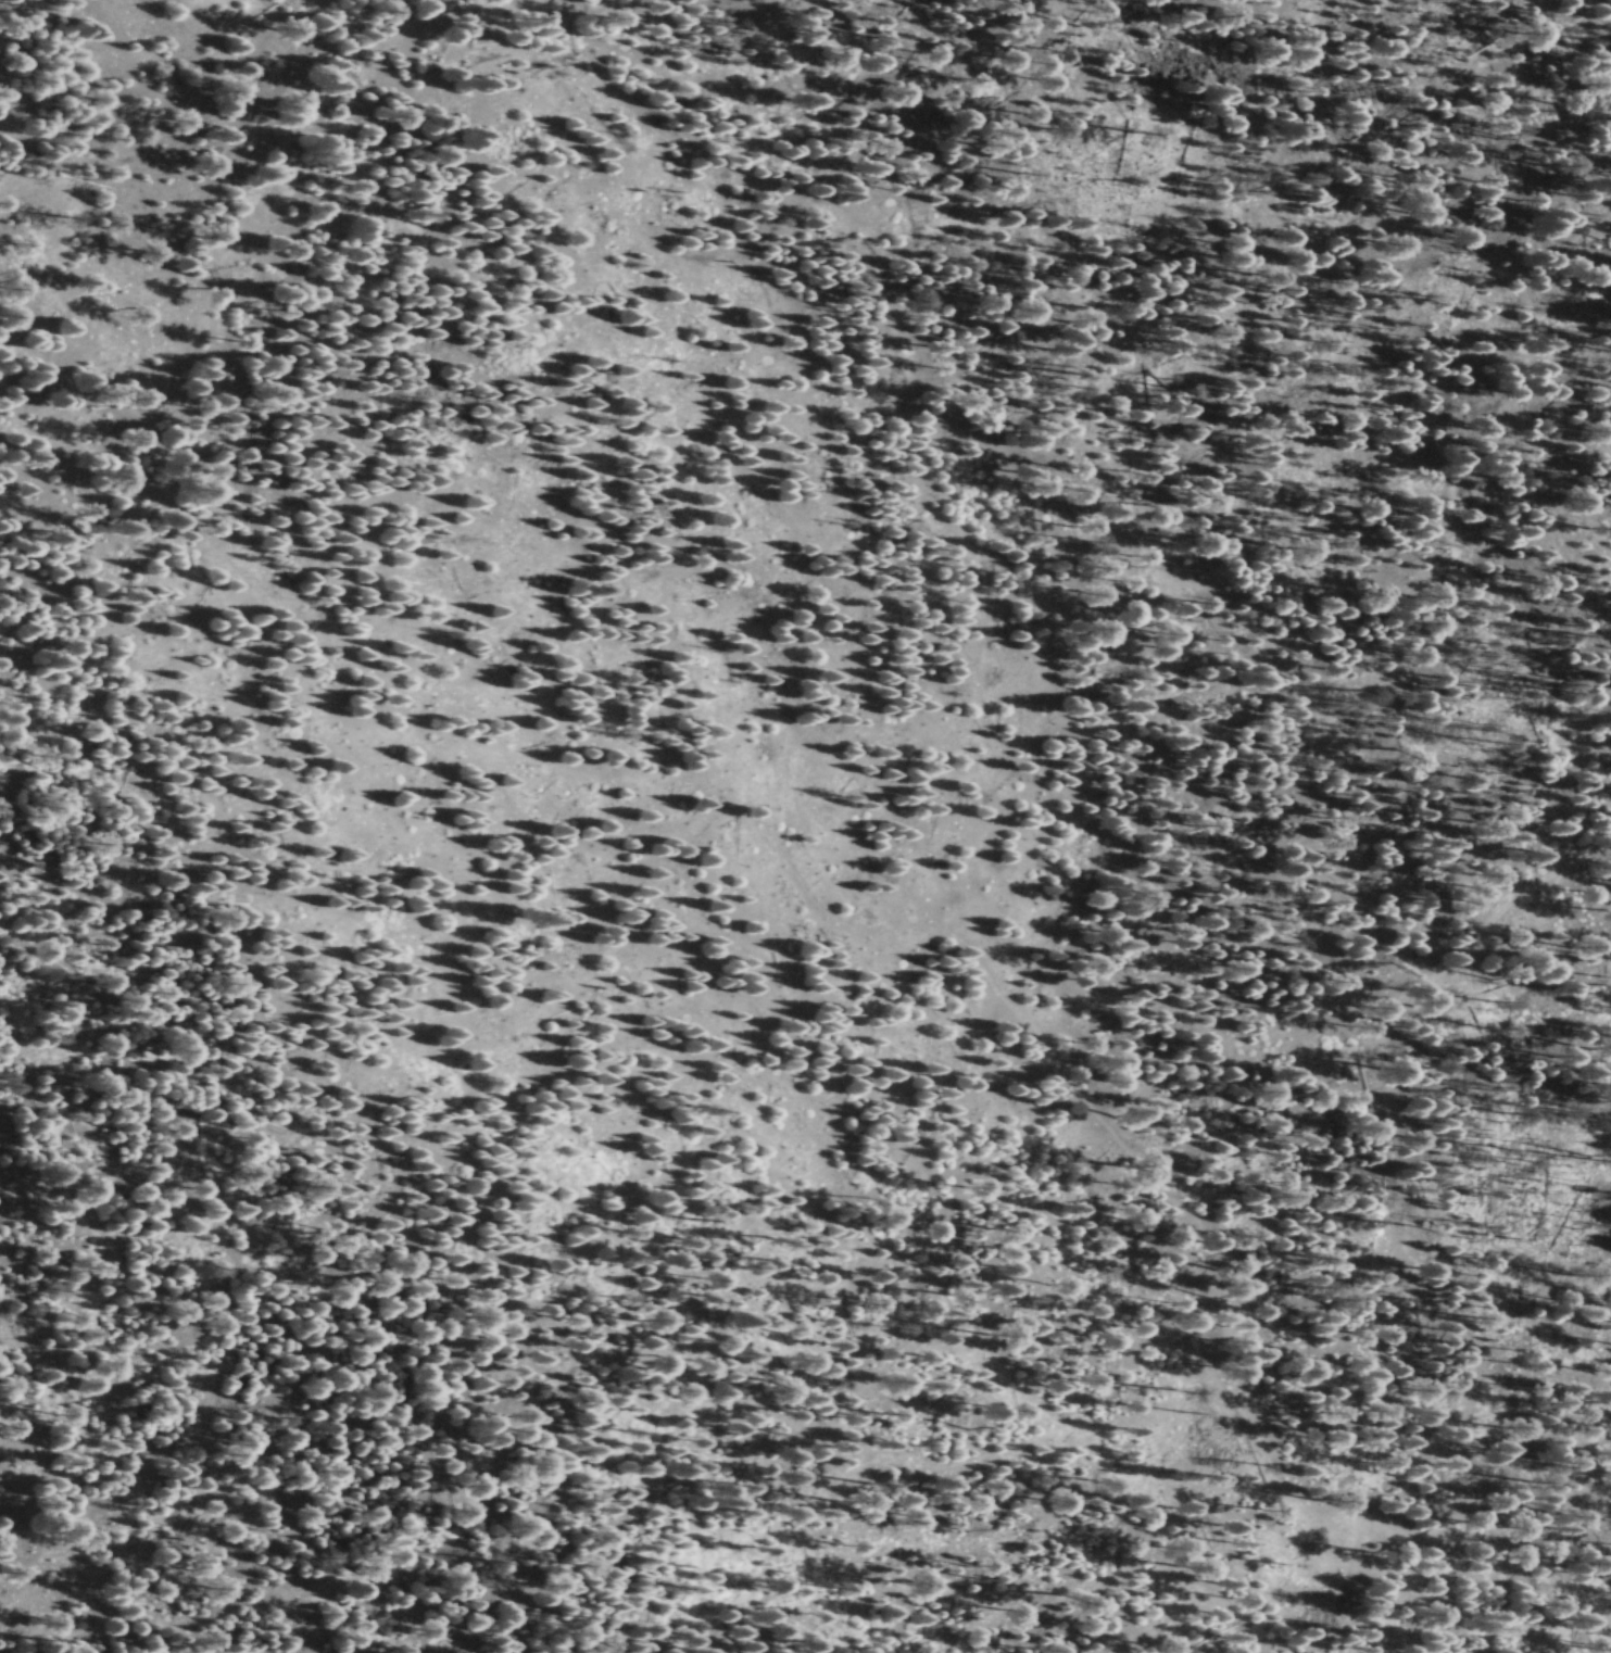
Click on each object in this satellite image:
road: (1294, 923)
road: (1439, 1225)
road: (1218, 1427)
road: (1599, 1629)

